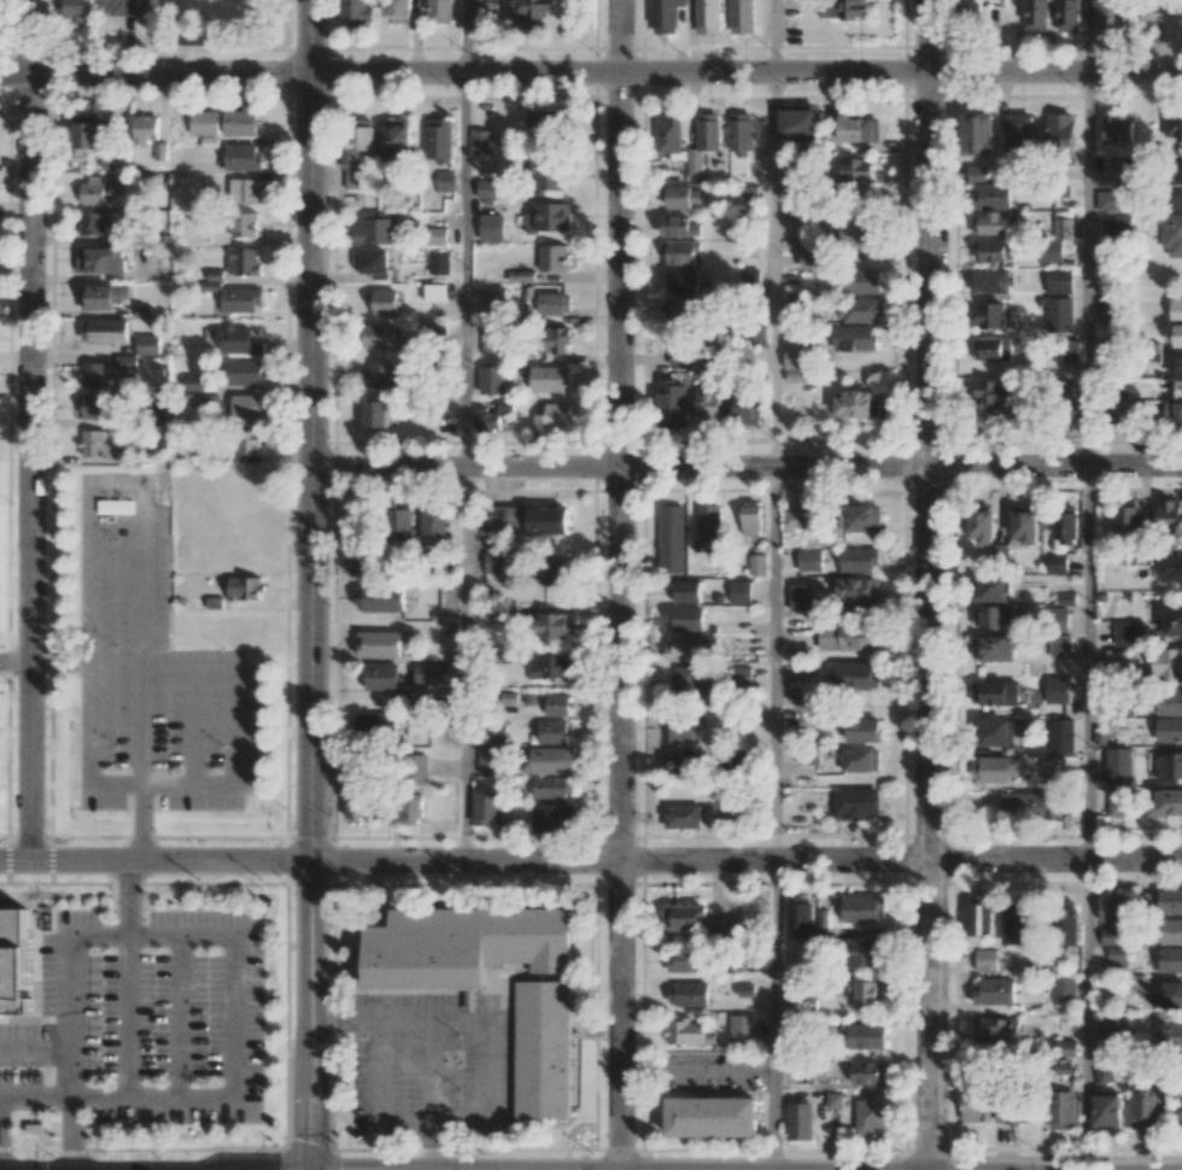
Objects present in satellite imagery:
building: (1168, 5)
building: (122, 6)
building: (534, 7)
building: (844, 8)
building: (77, 10)
building: (971, 10)
building: (357, 11)
building: (399, 11)
building: (441, 11)
building: (1036, 14)
building: (1067, 14)
building: (665, 16)
building: (708, 16)
building: (742, 16)
road: (773, 35)
road: (1088, 35)
road: (463, 36)
road: (590, 71)
building: (241, 121)
building: (546, 121)
building: (797, 121)
building: (205, 122)
building: (147, 127)
building: (859, 128)
building: (1172, 128)
building: (1117, 129)
building: (1060, 130)
building: (88, 131)
building: (977, 133)
building: (1019, 133)
building: (669, 134)
building: (704, 138)
building: (398, 139)
building: (439, 140)
building: (482, 141)
building: (739, 142)
building: (160, 151)
building: (358, 152)
building: (242, 157)
building: (854, 170)
building: (1178, 171)
building: (549, 177)
building: (443, 180)
building: (486, 188)
building: (94, 189)
building: (245, 191)
building: (748, 192)
building: (677, 195)
building: (990, 197)
building: (1177, 197)
building: (1113, 199)
building: (549, 217)
building: (94, 223)
building: (990, 223)
building: (245, 224)
building: (1117, 224)
building: (679, 226)
building: (491, 227)
building: (1063, 228)
building: (376, 230)
building: (853, 234)
building: (1171, 234)
building: (438, 235)
building: (996, 251)
building: (1051, 251)
building: (679, 252)
building: (554, 257)
building: (812, 258)
building: (101, 259)
building: (244, 261)
building: (374, 262)
building: (439, 264)
road: (773, 268)
road: (1087, 268)
road: (463, 269)
building: (683, 280)
building: (859, 280)
building: (991, 280)
building: (1059, 280)
building: (434, 292)
building: (103, 296)
building: (496, 297)
building: (241, 299)
building: (382, 302)
building: (554, 303)
building: (683, 309)
building: (1110, 309)
building: (859, 310)
building: (1176, 310)
building: (1063, 314)
building: (988, 315)
building: (104, 329)
building: (379, 335)
building: (1177, 335)
building: (854, 338)
building: (492, 339)
building: (552, 339)
building: (238, 340)
building: (147, 344)
building: (991, 349)
building: (1067, 353)
building: (678, 358)
building: (125, 361)
building: (796, 364)
building: (245, 372)
building: (94, 374)
building: (382, 376)
building: (1177, 376)
building: (549, 378)
building: (492, 379)
building: (194, 382)
building: (996, 394)
building: (672, 403)
building: (246, 404)
building: (858, 404)
building: (96, 405)
building: (708, 406)
building: (747, 408)
building: (1172, 411)
building: (375, 414)
building: (491, 416)
building: (551, 416)
road: (30, 429)
building: (248, 441)
building: (94, 444)
road: (745, 466)
building: (1169, 514)
building: (750, 517)
building: (862, 517)
building: (1127, 519)
building: (523, 520)
building: (794, 520)
building: (708, 521)
building: (400, 523)
building: (434, 525)
building: (982, 526)
building: (1025, 527)
building: (1065, 527)
building: (671, 538)
building: (1000, 552)
building: (809, 560)
building: (859, 560)
building: (496, 562)
building: (757, 563)
building: (1057, 563)
building: (361, 564)
building: (1170, 568)
building: (555, 572)
road: (309, 585)
road: (618, 585)
road: (928, 585)
building: (245, 587)
building: (991, 589)
building: (686, 590)
building: (741, 591)
building: (858, 591)
building: (800, 597)
building: (1066, 597)
building: (381, 598)
road: (140, 606)
building: (991, 616)
building: (685, 618)
building: (1174, 621)
building: (557, 625)
building: (1129, 633)
building: (848, 637)
building: (379, 644)
building: (1060, 645)
building: (685, 648)
building: (993, 648)
building: (1117, 660)
road: (8, 662)
road: (59, 662)
road: (463, 662)
road: (773, 662)
road: (1087, 662)
building: (1165, 663)
building: (551, 666)
parking lot: (150, 667)
building: (429, 673)
building: (742, 674)
building: (381, 675)
building: (856, 675)
building: (686, 680)
building: (1057, 689)
building: (994, 692)
building: (1170, 702)
building: (556, 704)
building: (375, 724)
road: (192, 729)
road: (234, 729)
building: (680, 729)
building: (864, 730)
building: (1169, 730)
building: (552, 731)
building: (495, 732)
building: (996, 732)
building: (1061, 735)
building: (551, 760)
building: (739, 760)
building: (860, 760)
building: (487, 761)
building: (419, 762)
building: (679, 764)
building: (1118, 765)
building: (1169, 765)
building: (1053, 768)
building: (995, 770)
building: (551, 786)
building: (1118, 801)
building: (1166, 802)
building: (856, 805)
building: (1029, 805)
building: (355, 806)
building: (486, 806)
building: (411, 807)
building: (382, 808)
building: (679, 815)
building: (554, 817)
road: (139, 821)
road: (591, 860)
road: (127, 899)
building: (1170, 900)
building: (864, 908)
building: (1113, 908)
building: (979, 914)
building: (683, 917)
building: (798, 918)
building: (1069, 923)
building: (1016, 924)
building: (725, 928)
building: (1170, 931)
building: (1110, 936)
road: (153, 937)
building: (464, 944)
building: (865, 952)
building: (1117, 955)
building: (11, 958)
building: (1170, 959)
building: (686, 960)
building: (985, 960)
building: (1135, 983)
building: (1064, 989)
building: (867, 991)
building: (995, 991)
building: (687, 994)
building: (1169, 996)
road: (773, 1014)
road: (1088, 1014)
road: (71, 1017)
road: (125, 1017)
parking lot: (142, 1017)
road: (177, 1017)
road: (234, 1018)
road: (390, 1018)
road: (358, 1019)
building: (1118, 1026)
building: (742, 1030)
building: (996, 1030)
building: (687, 1032)
building: (1172, 1035)
building: (866, 1036)
building: (1066, 1047)
road: (35, 1048)
building: (543, 1049)
parking lot: (432, 1064)
building: (868, 1072)
road: (487, 1074)
building: (1104, 1074)
building: (574, 1083)
road: (35, 1096)
road: (152, 1096)
building: (978, 1107)
building: (1061, 1108)
building: (1145, 1108)
building: (1106, 1110)
building: (871, 1112)
building: (1011, 1112)
building: (1181, 1113)
building: (713, 1117)
building: (800, 1121)
road: (71, 1133)

